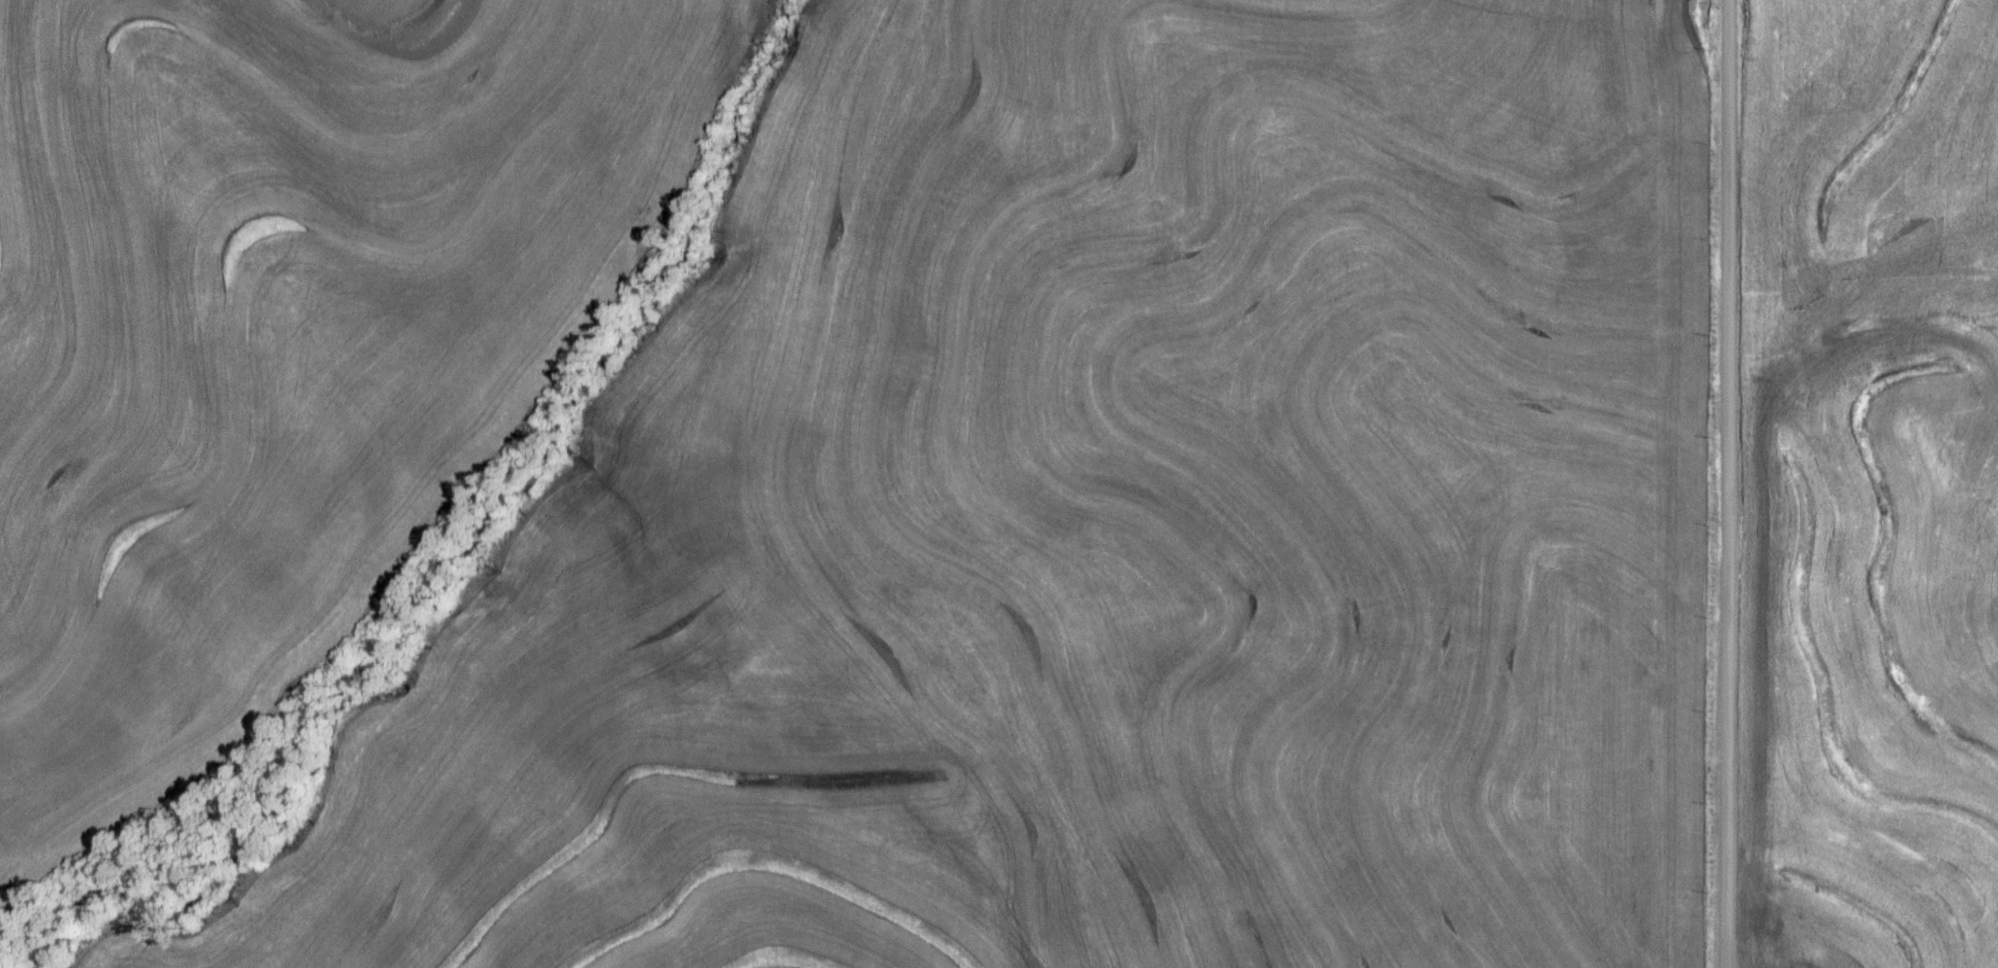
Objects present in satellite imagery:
road: (1702, 484)

